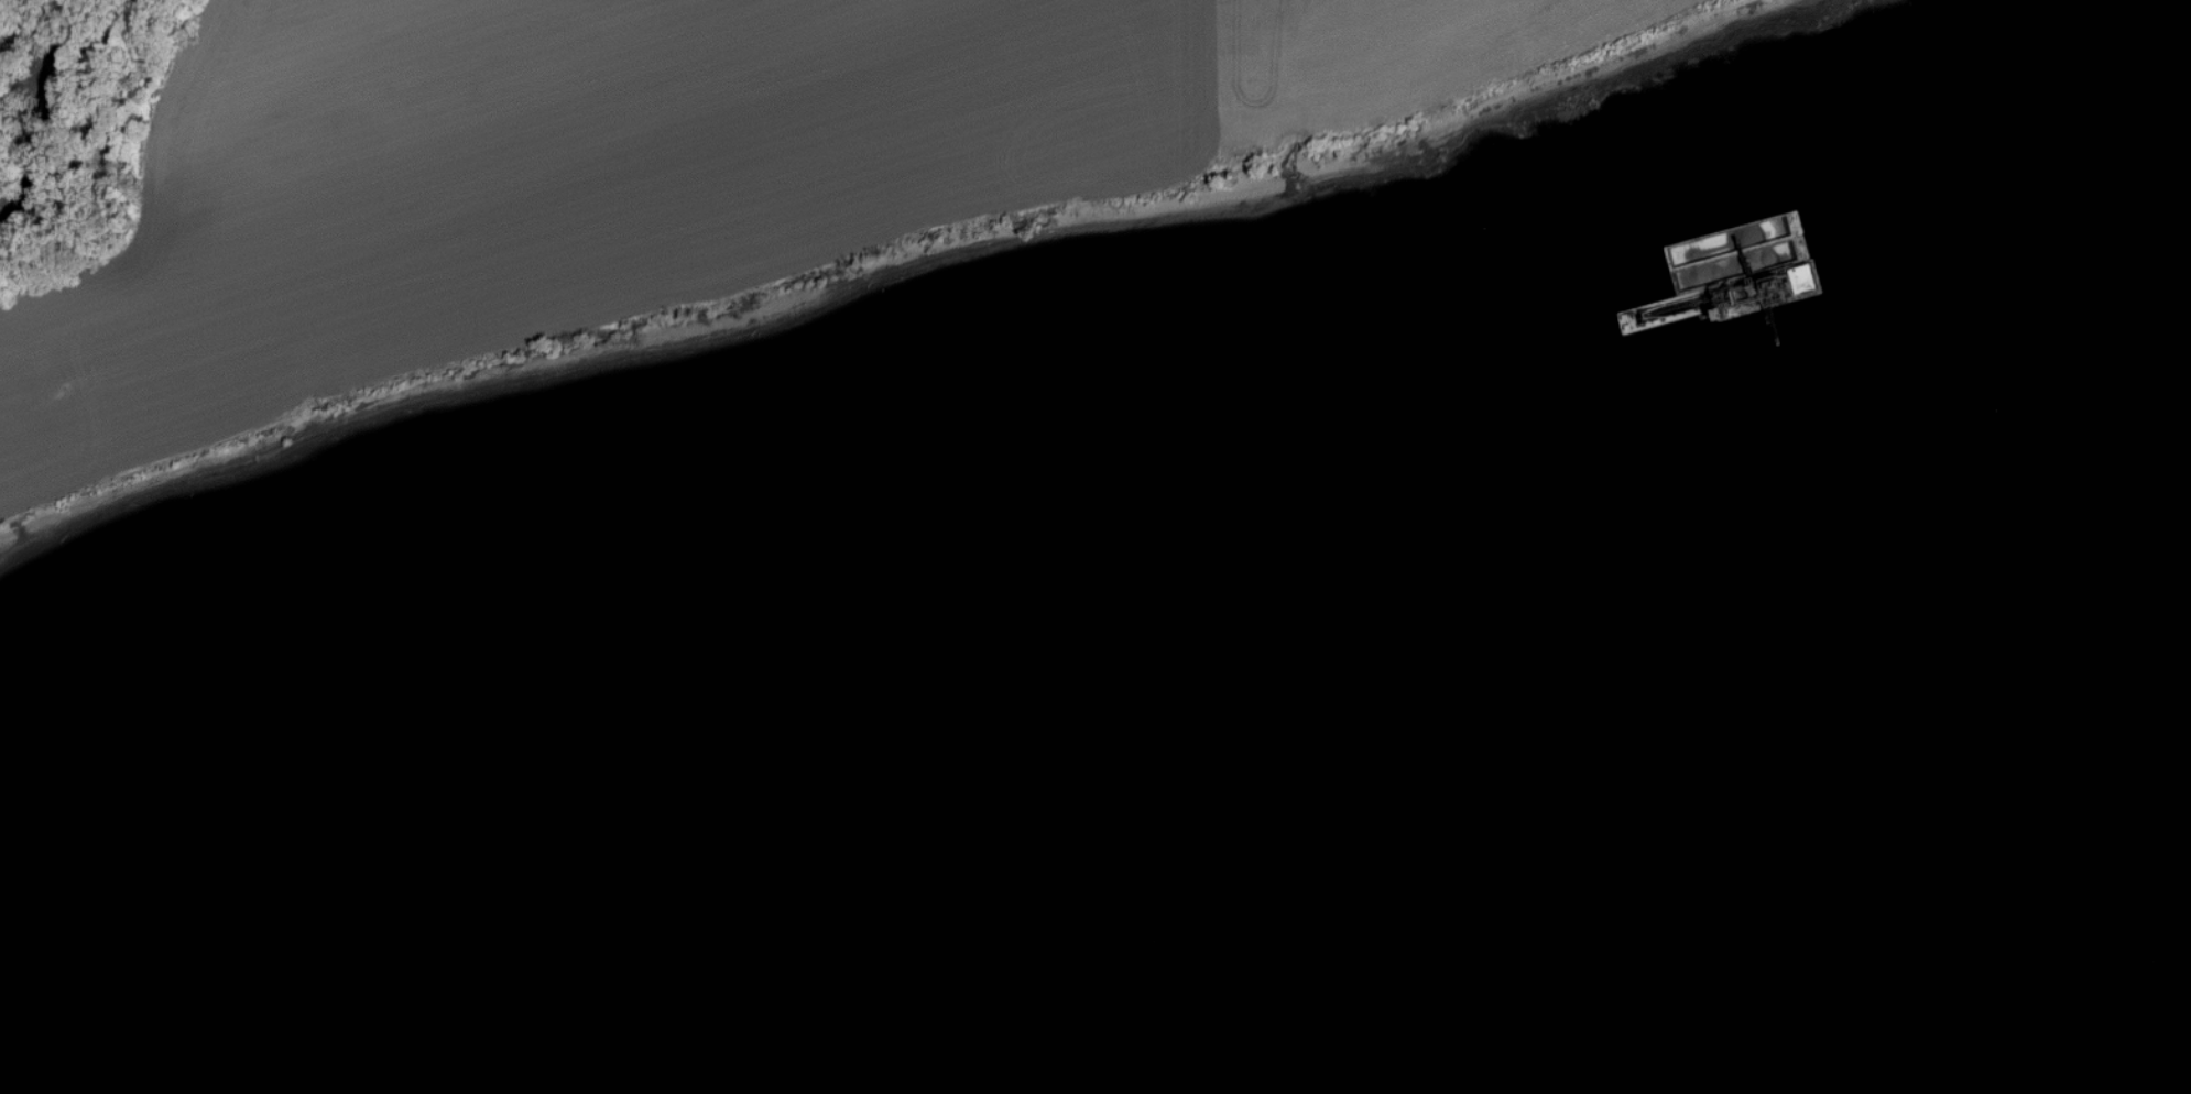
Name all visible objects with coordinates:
river: (1888, 999)

